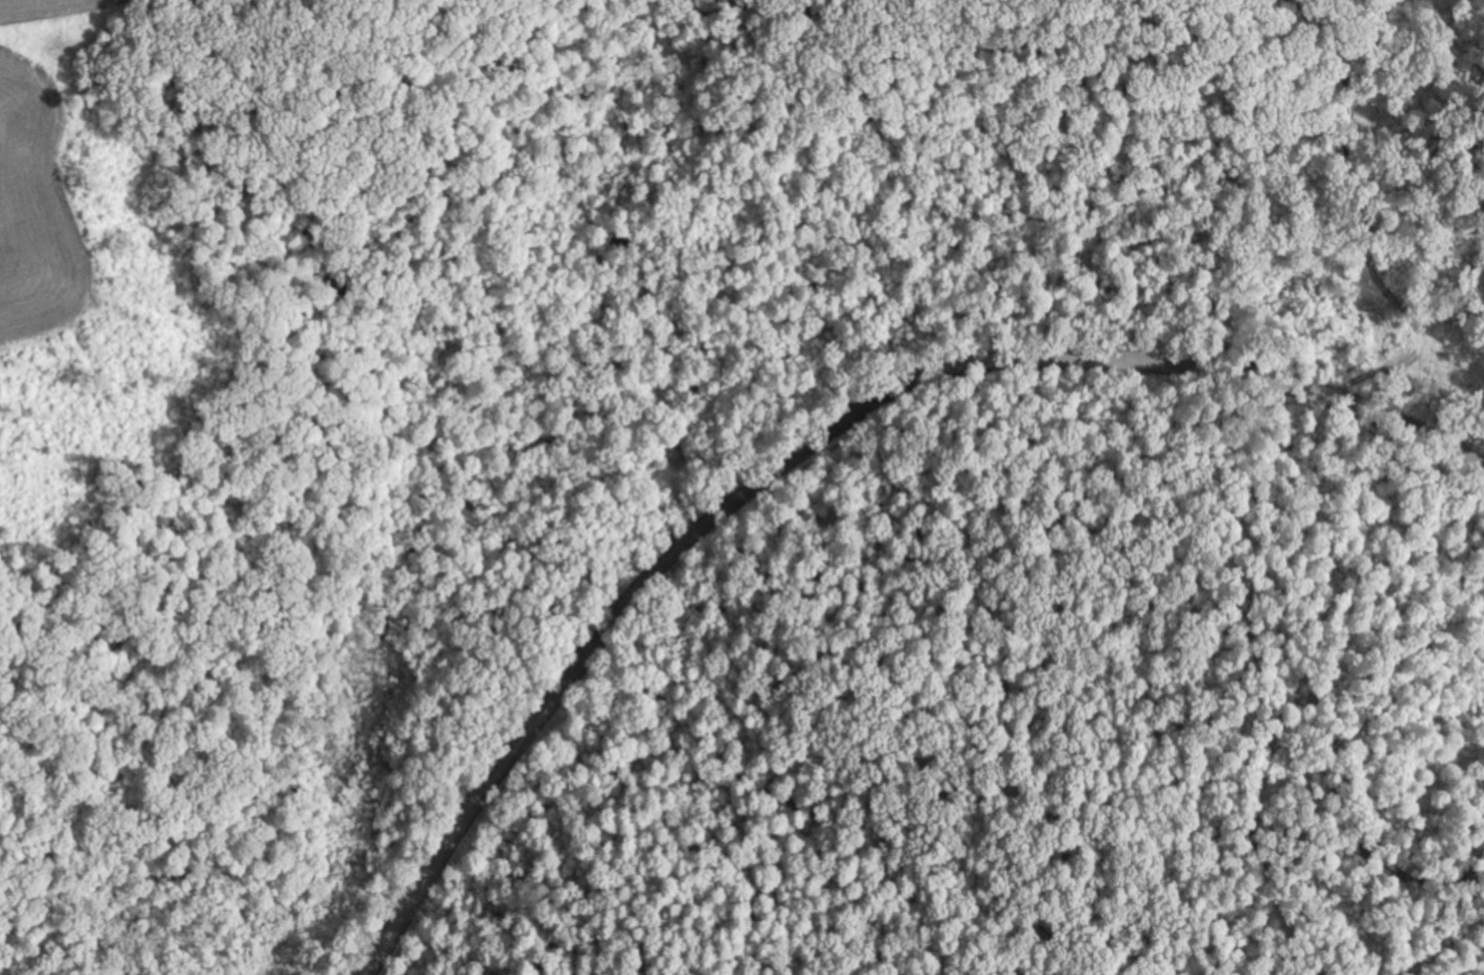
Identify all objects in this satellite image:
crop: (70, 177)
road: (815, 438)

